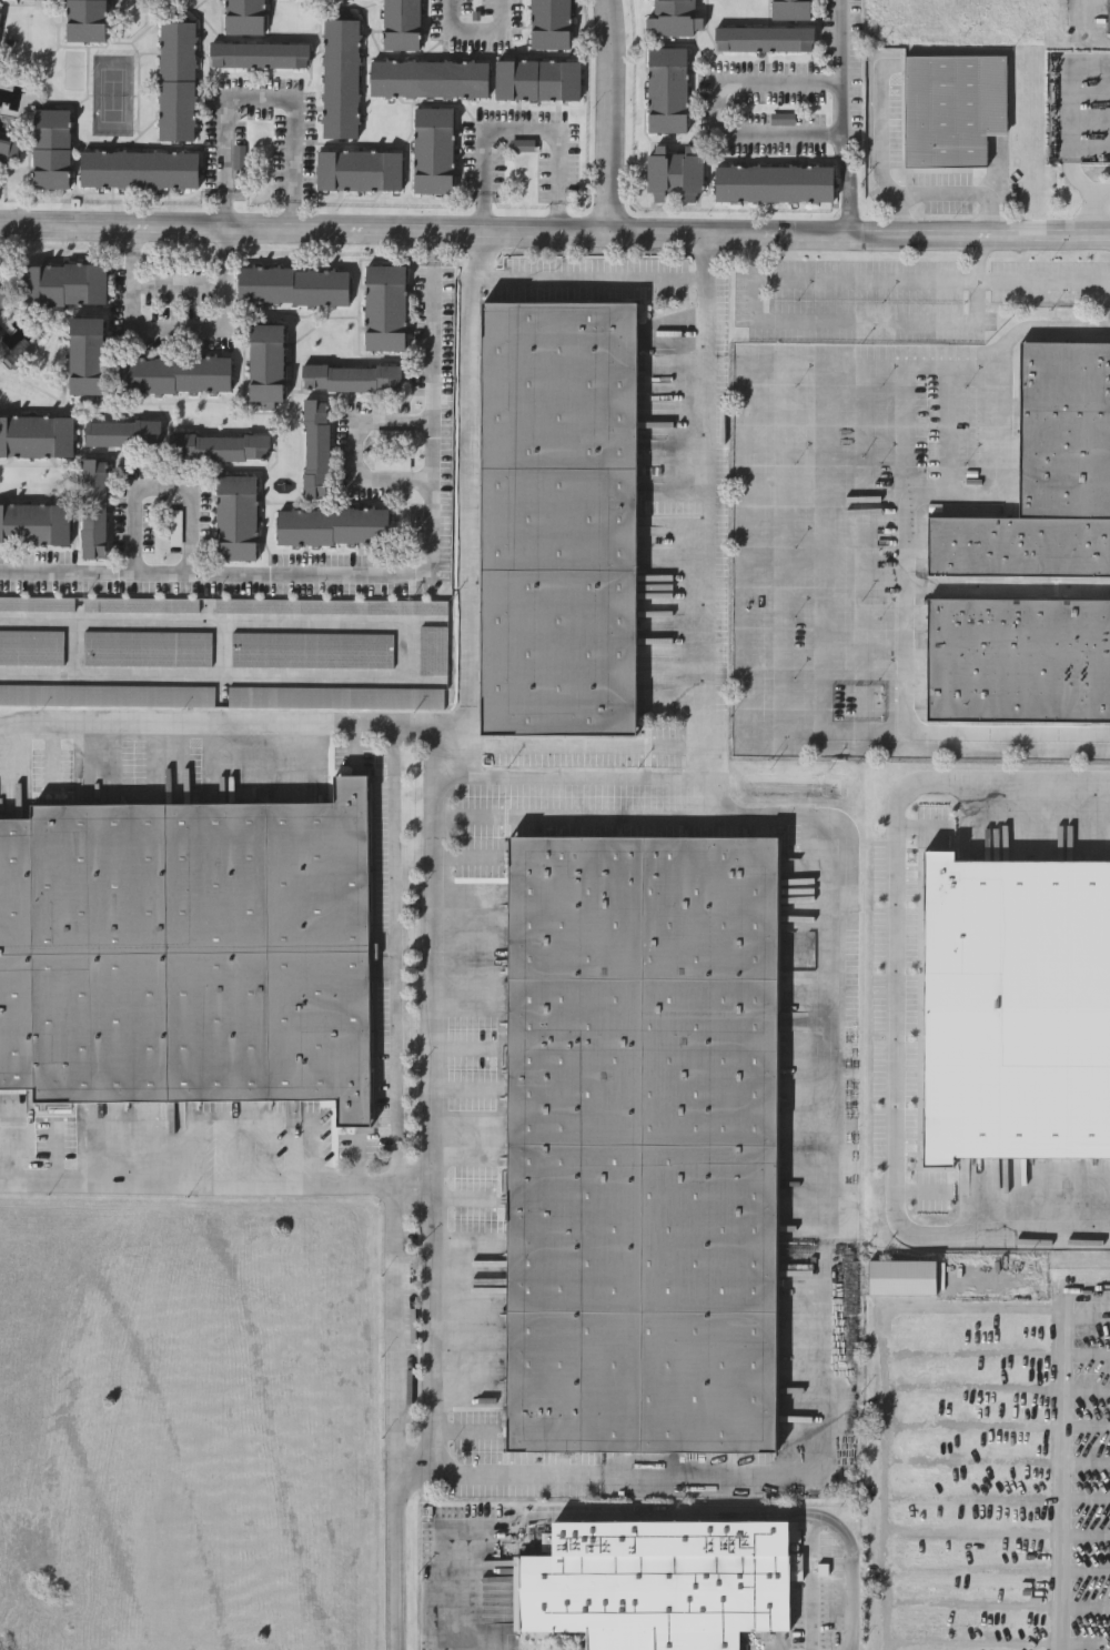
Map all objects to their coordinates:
building: (39, 0)
building: (789, 9)
building: (0, 16)
building: (243, 16)
building: (673, 16)
building: (1108, 16)
building: (83, 19)
building: (400, 23)
building: (548, 23)
road: (1083, 32)
building: (764, 38)
road: (471, 39)
building: (259, 53)
building: (340, 77)
building: (427, 77)
building: (536, 78)
building: (175, 79)
building: (666, 88)
road: (836, 93)
road: (262, 98)
road: (712, 103)
building: (951, 103)
road: (606, 113)
road: (525, 130)
road: (884, 135)
building: (8, 143)
building: (50, 147)
building: (432, 148)
building: (138, 168)
building: (357, 169)
building: (674, 172)
building: (773, 182)
road: (947, 190)
road: (1097, 205)
road: (222, 208)
road: (847, 208)
road: (483, 209)
road: (291, 213)
road: (555, 215)
road: (555, 228)
road: (130, 239)
road: (222, 239)
road: (434, 244)
road: (434, 266)
road: (589, 280)
road: (838, 280)
road: (1015, 282)
building: (65, 283)
road: (174, 283)
building: (293, 285)
building: (3, 295)
building: (385, 306)
road: (862, 328)
road: (173, 329)
building: (87, 354)
building: (265, 363)
building: (174, 372)
building: (352, 376)
road: (946, 423)
building: (123, 432)
building: (37, 434)
building: (220, 446)
building: (316, 447)
road: (354, 450)
building: (1046, 474)
road: (160, 491)
road: (949, 493)
road: (468, 501)
building: (94, 506)
building: (556, 513)
building: (236, 516)
building: (34, 523)
building: (332, 525)
road: (743, 544)
road: (366, 573)
building: (37, 602)
building: (141, 604)
building: (330, 604)
road: (904, 618)
building: (31, 646)
building: (148, 647)
building: (312, 648)
building: (432, 648)
building: (1018, 657)
building: (105, 694)
building: (336, 696)
road: (193, 714)
road: (427, 716)
road: (585, 746)
road: (619, 776)
road: (583, 815)
building: (186, 949)
road: (894, 1012)
building: (637, 1145)
road: (398, 1183)
road: (200, 1186)
building: (1091, 1188)
building: (900, 1276)
road: (823, 1285)
road: (431, 1329)
road: (884, 1366)
parking lot: (1000, 1477)
road: (1063, 1480)
road: (658, 1512)
building: (656, 1582)
road: (811, 1582)

